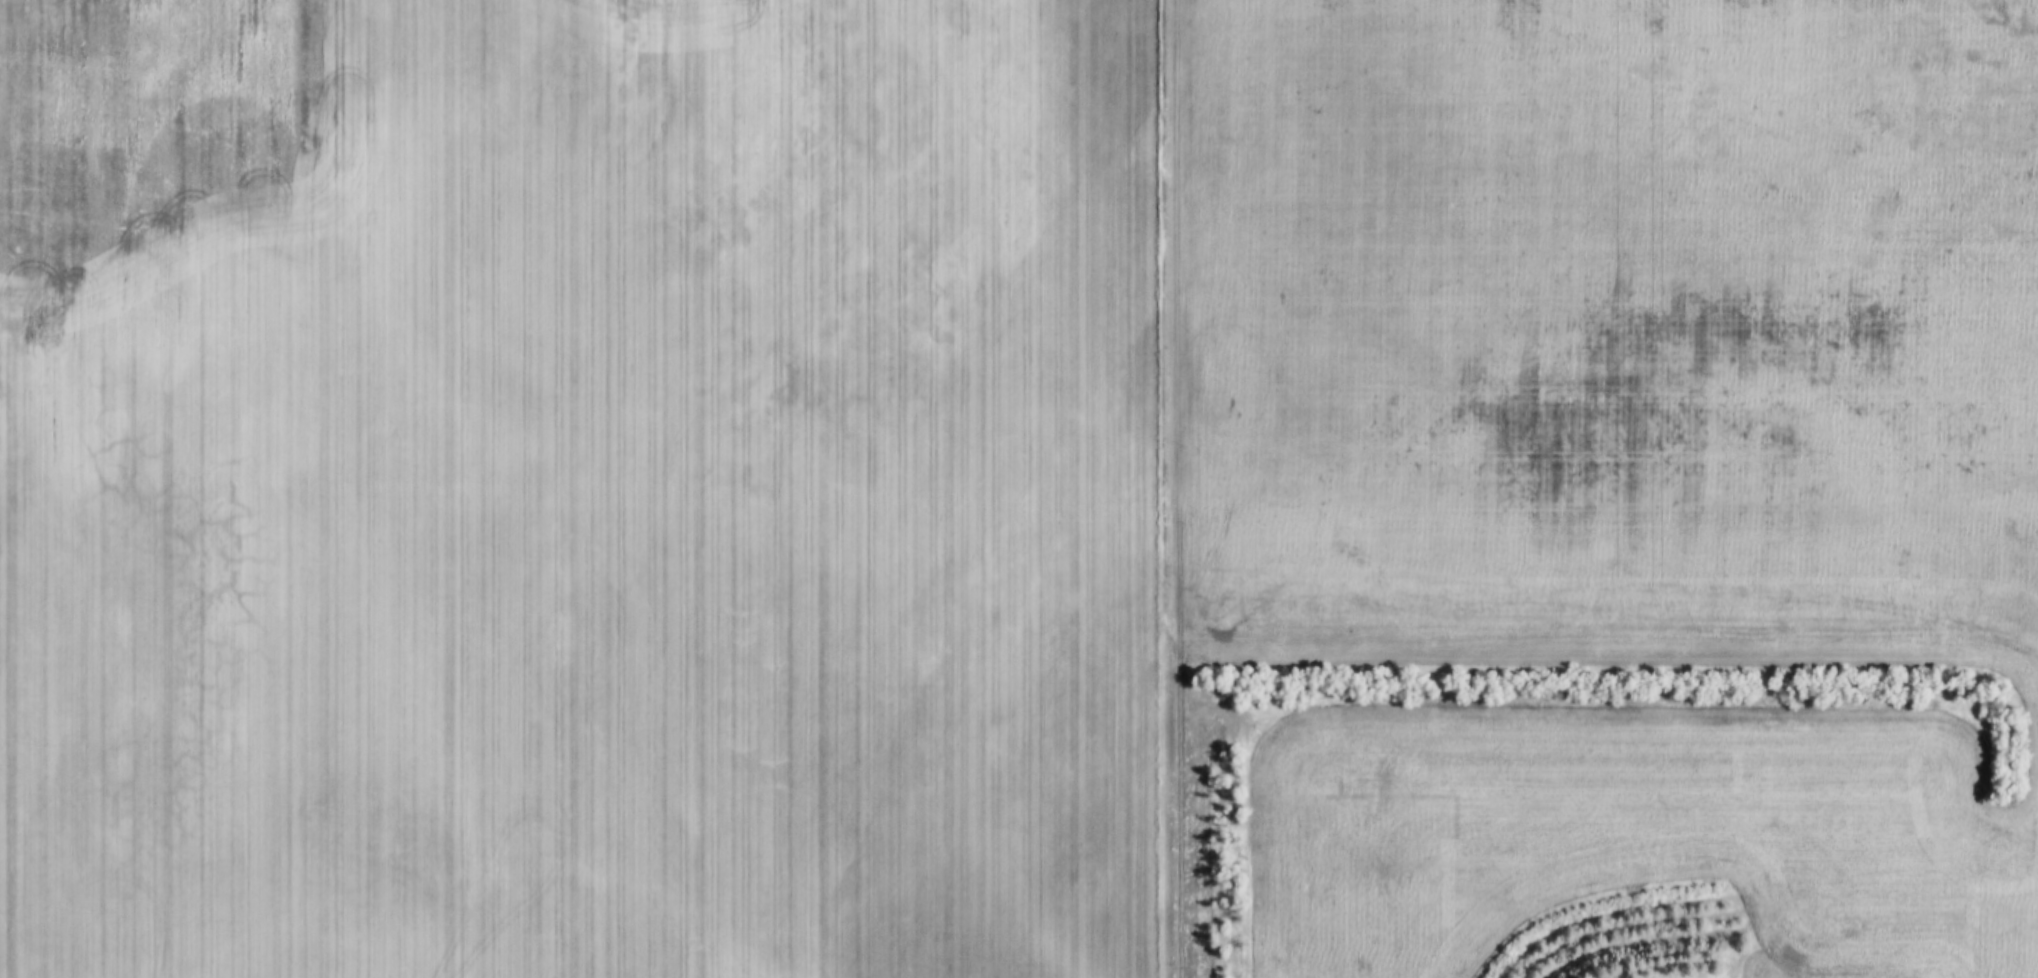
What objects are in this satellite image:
road: (1182, 488)

